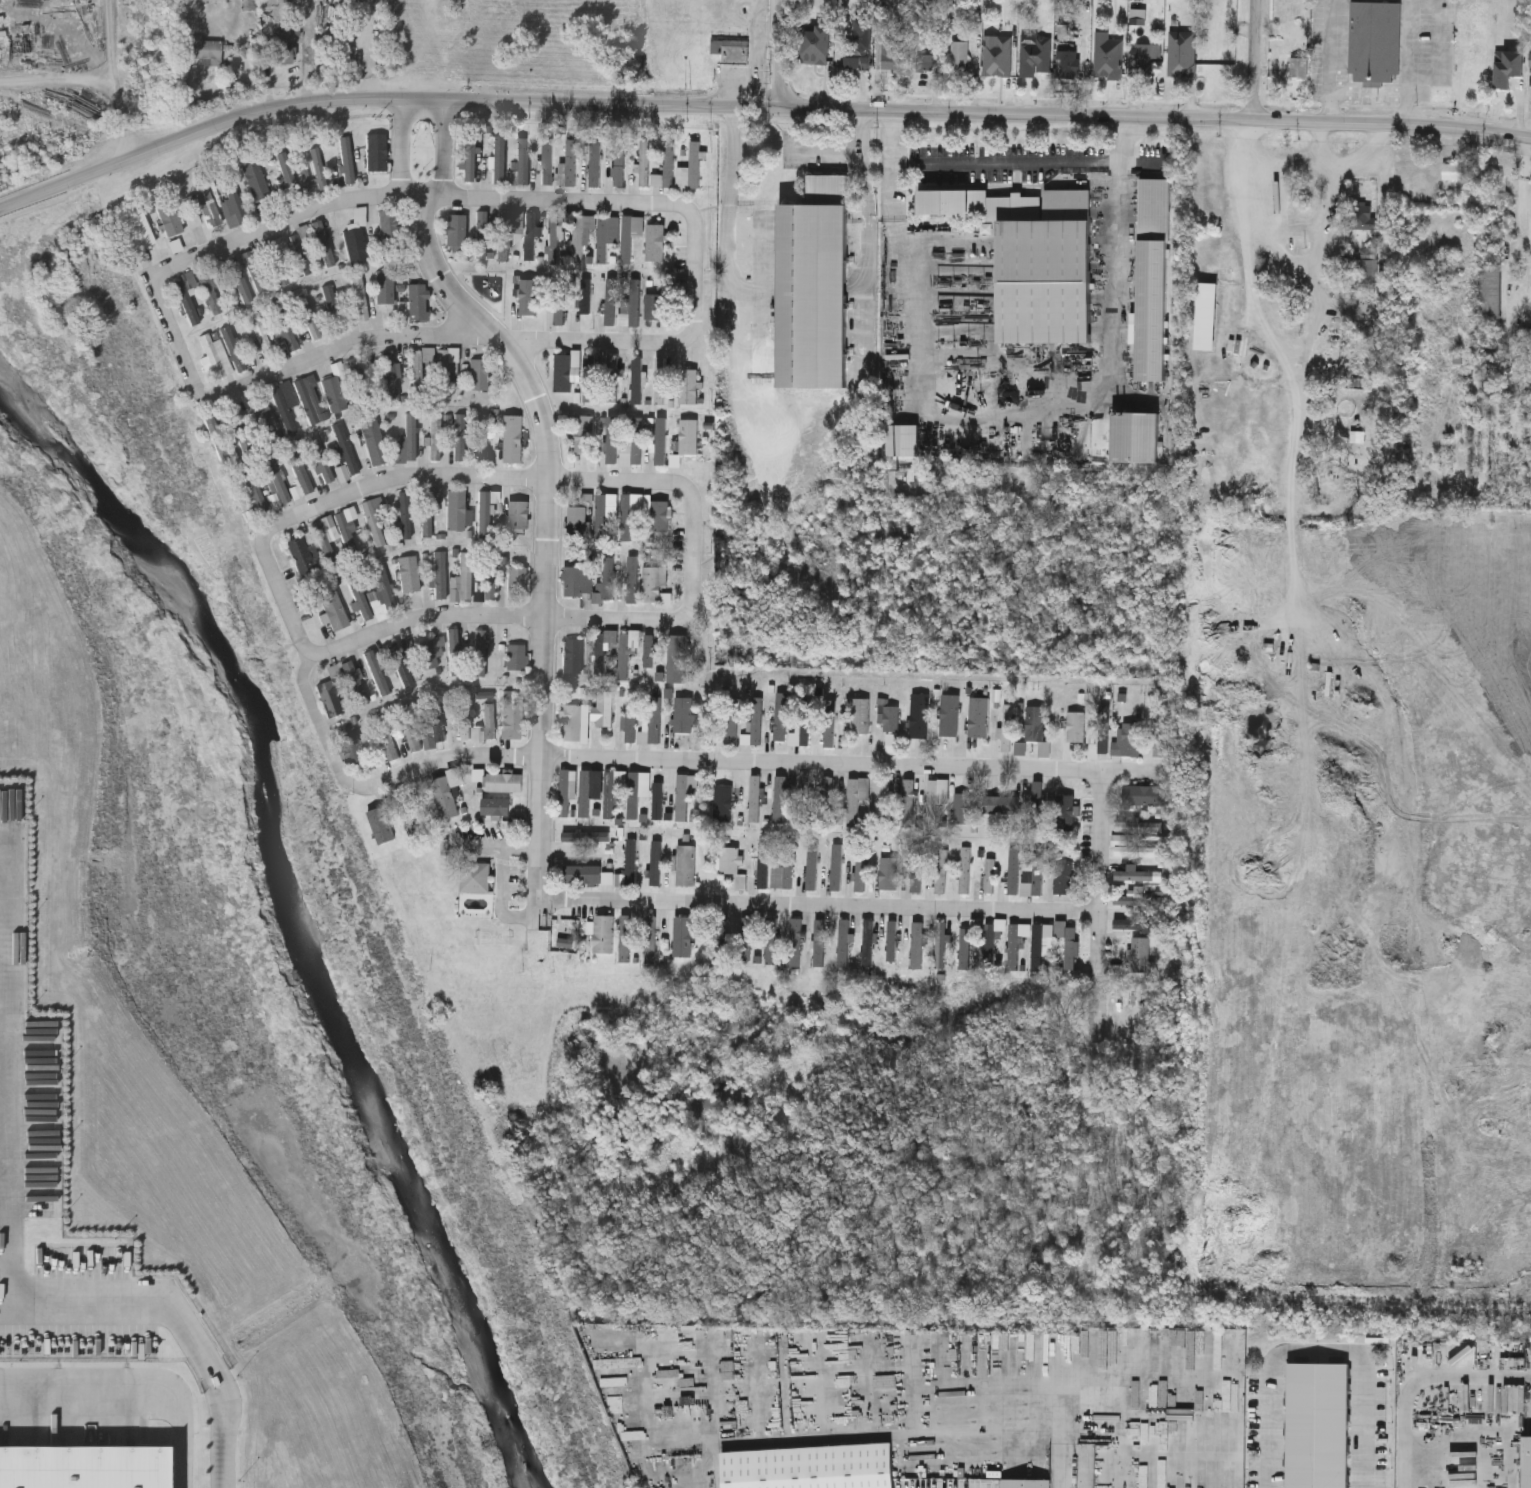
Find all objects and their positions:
building: (928, 1)
building: (1374, 40)
road: (113, 44)
building: (860, 44)
building: (817, 45)
building: (895, 53)
building: (1182, 53)
building: (734, 54)
building: (206, 55)
road: (780, 56)
building: (961, 56)
building: (998, 57)
building: (283, 58)
building: (1036, 58)
building: (1109, 59)
building: (1141, 60)
road: (1256, 60)
road: (1333, 62)
building: (926, 63)
road: (1408, 63)
building: (1071, 64)
building: (1299, 67)
building: (1509, 67)
road: (59, 79)
road: (382, 104)
road: (1156, 117)
road: (126, 121)
road: (846, 151)
building: (376, 153)
building: (470, 159)
building: (498, 159)
building: (347, 160)
building: (548, 162)
building: (644, 163)
road: (1308, 163)
building: (521, 164)
road: (1007, 164)
building: (695, 165)
road: (1368, 165)
building: (569, 166)
building: (592, 166)
building: (319, 167)
road: (404, 167)
road: (443, 167)
building: (619, 168)
building: (1456, 169)
building: (286, 175)
building: (305, 176)
building: (683, 179)
building: (257, 182)
road: (557, 205)
building: (234, 206)
building: (209, 209)
building: (1360, 215)
building: (170, 219)
road: (284, 226)
building: (325, 227)
building: (390, 229)
building: (142, 231)
building: (457, 231)
building: (482, 235)
building: (631, 235)
building: (531, 236)
building: (581, 236)
building: (607, 236)
building: (504, 237)
building: (357, 238)
building: (554, 239)
building: (656, 243)
building: (302, 248)
road: (1331, 255)
building: (1033, 258)
building: (1207, 262)
building: (1367, 272)
building: (1153, 279)
building: (814, 286)
building: (385, 288)
building: (1490, 292)
building: (212, 294)
building: (585, 296)
building: (188, 297)
building: (530, 297)
building: (361, 299)
building: (611, 301)
building: (418, 302)
building: (633, 302)
building: (561, 304)
building: (654, 306)
building: (334, 308)
building: (309, 320)
road: (1266, 323)
road: (1324, 327)
building: (283, 328)
road: (436, 339)
building: (234, 349)
building: (216, 358)
building: (446, 367)
building: (564, 373)
building: (419, 374)
building: (393, 375)
building: (479, 377)
building: (589, 378)
building: (613, 379)
building: (638, 381)
building: (660, 381)
building: (335, 394)
building: (311, 400)
building: (285, 401)
building: (241, 432)
building: (585, 433)
building: (1135, 436)
building: (436, 437)
building: (689, 437)
building: (460, 438)
building: (484, 438)
building: (514, 439)
building: (902, 439)
building: (409, 440)
building: (612, 440)
building: (638, 440)
building: (218, 441)
building: (661, 442)
building: (374, 443)
building: (346, 449)
building: (322, 461)
building: (301, 478)
road: (465, 480)
building: (457, 511)
building: (428, 512)
building: (405, 514)
building: (484, 515)
building: (519, 515)
building: (660, 516)
building: (627, 517)
building: (376, 519)
building: (577, 519)
building: (348, 531)
building: (325, 544)
road: (545, 546)
building: (302, 555)
building: (409, 574)
building: (440, 576)
building: (465, 576)
building: (489, 576)
building: (632, 579)
building: (517, 582)
building: (572, 582)
building: (606, 582)
building: (655, 585)
building: (384, 596)
building: (360, 598)
building: (336, 612)
road: (496, 619)
building: (454, 647)
building: (604, 647)
building: (649, 651)
building: (479, 653)
building: (430, 654)
building: (624, 655)
building: (572, 656)
building: (517, 657)
building: (677, 658)
building: (400, 664)
building: (378, 672)
building: (356, 682)
building: (330, 698)
building: (604, 707)
building: (513, 714)
building: (684, 714)
building: (950, 714)
building: (465, 715)
building: (860, 715)
building: (919, 715)
building: (780, 716)
building: (436, 717)
building: (979, 717)
building: (631, 718)
building: (890, 718)
building: (655, 719)
building: (733, 720)
building: (756, 720)
building: (490, 721)
building: (572, 722)
building: (830, 723)
building: (1035, 723)
building: (805, 724)
building: (1076, 726)
building: (1007, 727)
building: (1160, 733)
building: (386, 737)
building: (1103, 738)
building: (1128, 740)
building: (352, 746)
road: (681, 764)
building: (504, 781)
building: (565, 792)
building: (827, 792)
building: (585, 793)
building: (609, 794)
building: (634, 794)
building: (1145, 794)
building: (445, 796)
building: (687, 797)
building: (856, 797)
building: (880, 797)
building: (755, 798)
building: (805, 798)
building: (780, 799)
building: (932, 799)
building: (1038, 799)
building: (658, 800)
building: (908, 802)
building: (724, 804)
building: (1002, 804)
building: (495, 806)
building: (962, 807)
building: (1065, 811)
building: (381, 824)
building: (1139, 826)
building: (587, 836)
road: (481, 845)
road: (520, 846)
building: (1139, 851)
building: (730, 859)
building: (631, 862)
building: (657, 863)
building: (686, 865)
building: (812, 865)
building: (837, 866)
building: (917, 868)
building: (784, 869)
building: (860, 870)
building: (941, 870)
building: (965, 870)
building: (1014, 870)
building: (1038, 870)
building: (756, 872)
building: (889, 873)
building: (586, 874)
building: (1138, 875)
building: (475, 877)
building: (987, 877)
building: (1064, 878)
road: (504, 899)
building: (1138, 900)
road: (817, 909)
road: (1098, 913)
building: (1138, 924)
building: (603, 934)
building: (683, 936)
building: (625, 937)
building: (747, 937)
building: (651, 938)
building: (721, 939)
building: (772, 940)
building: (944, 940)
building: (1067, 940)
building: (796, 942)
building: (819, 942)
building: (843, 942)
building: (868, 943)
building: (893, 943)
building: (989, 943)
building: (917, 945)
building: (1014, 947)
building: (1038, 947)
building: (965, 948)
building: (1141, 954)
road: (13, 1044)
road: (179, 1305)
road: (1320, 1350)
road: (1419, 1380)
road: (1031, 1387)
road: (135, 1394)
building: (1317, 1425)
building: (1527, 1462)
road: (1063, 1464)
building: (84, 1467)
building: (810, 1467)
building: (1025, 1483)

